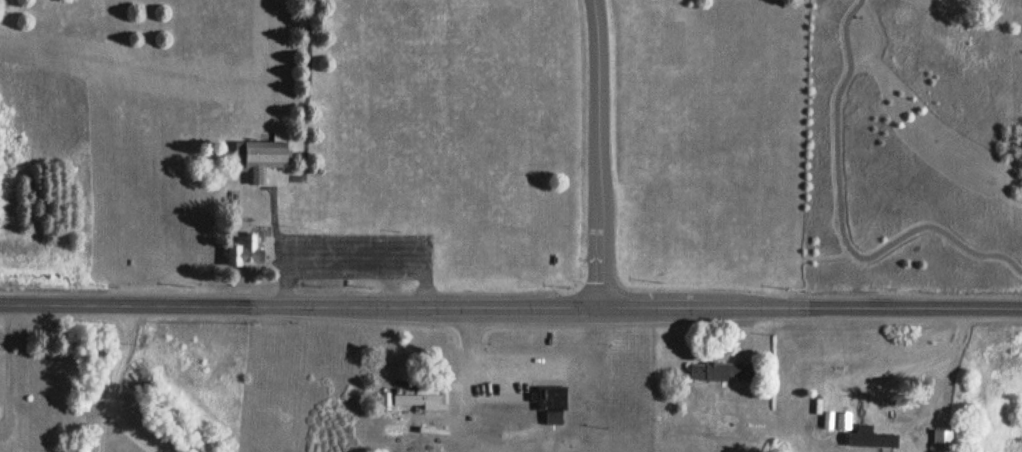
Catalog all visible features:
road: (862, 3)
road: (864, 6)
road: (600, 155)
building: (254, 156)
road: (285, 182)
road: (274, 206)
road: (852, 248)
building: (245, 252)
parking lot: (354, 252)
road: (510, 309)
road: (121, 352)
road: (926, 360)
parking lot: (535, 365)
building: (721, 372)
building: (548, 395)
building: (415, 400)
road: (103, 425)
road: (127, 429)
building: (870, 439)
building: (941, 439)

